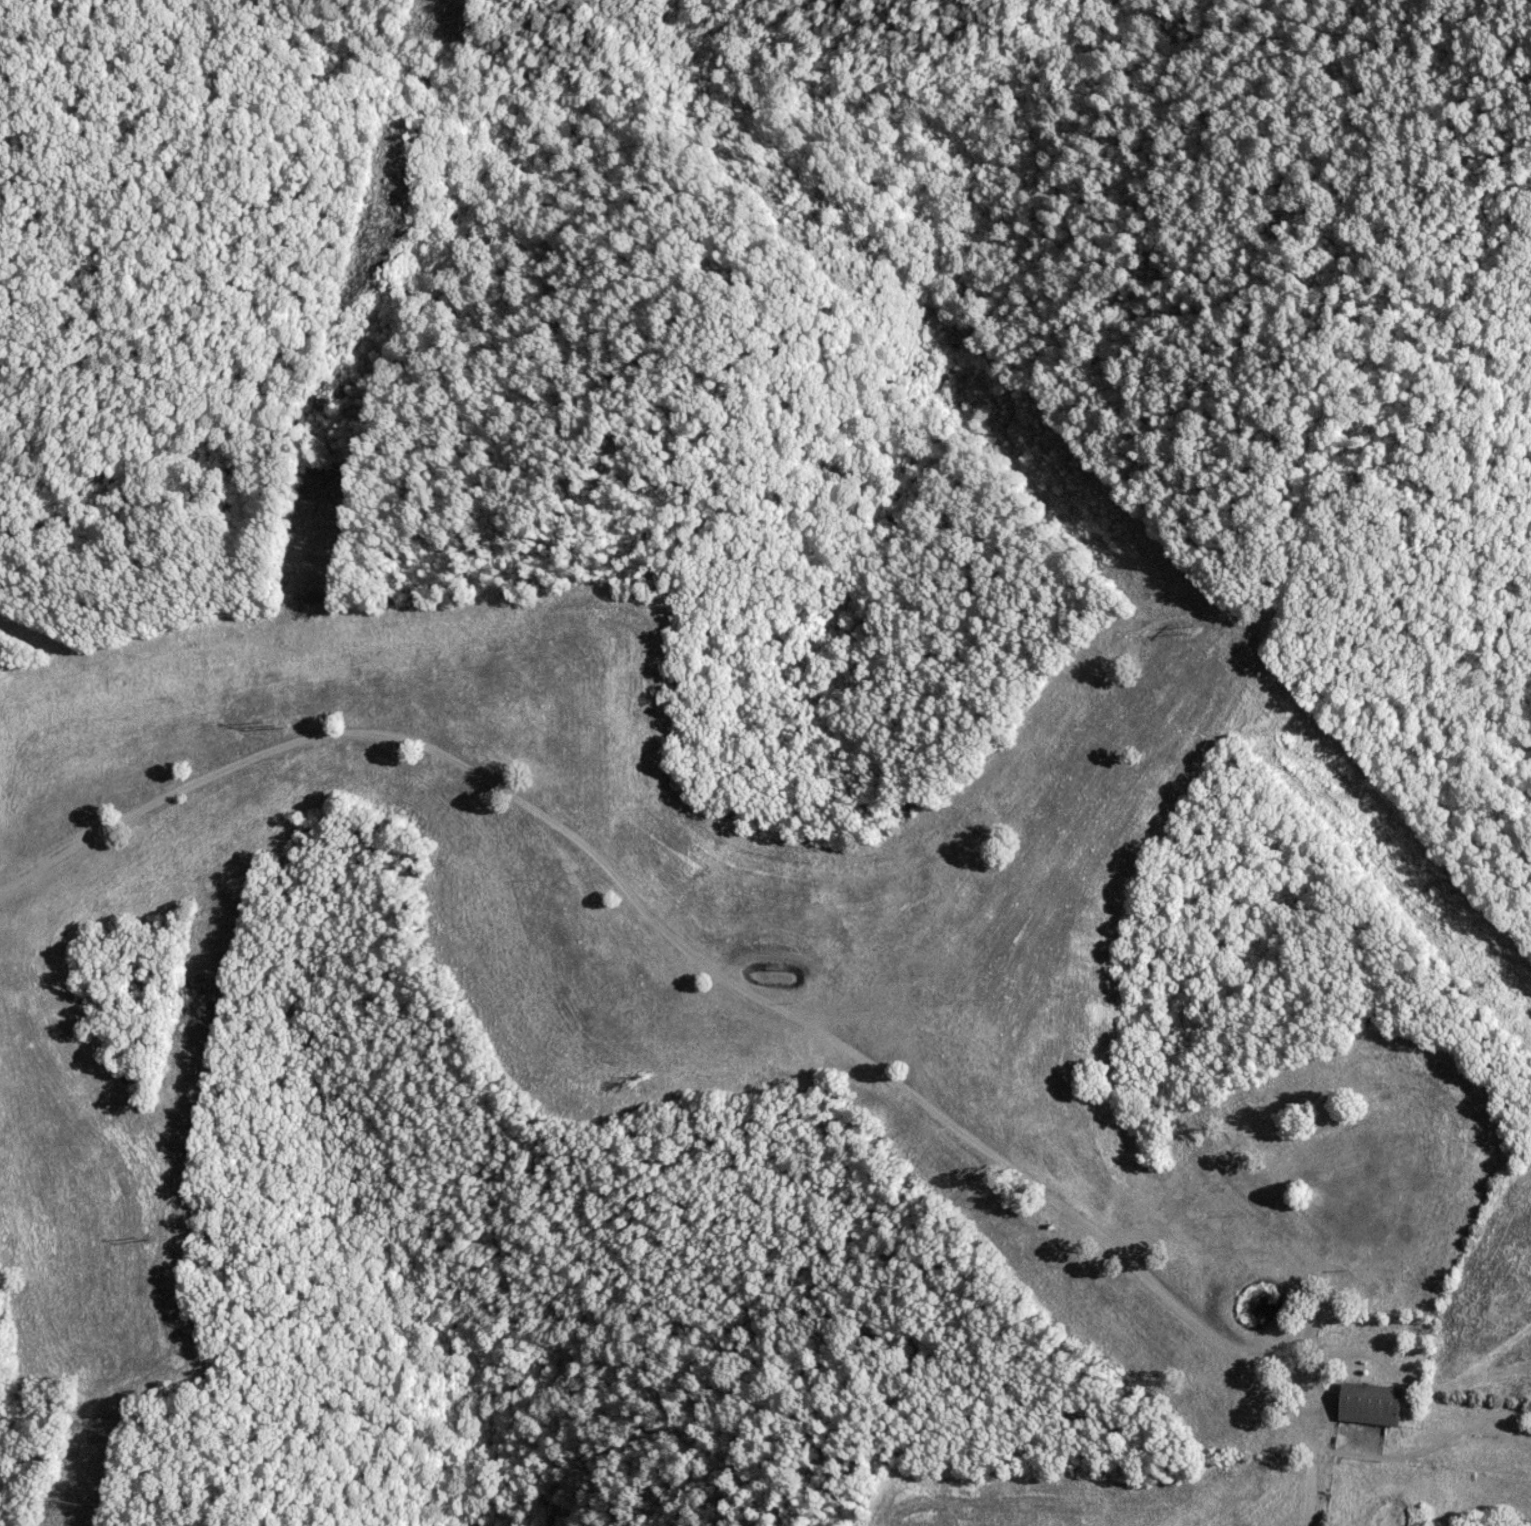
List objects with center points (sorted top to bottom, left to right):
power tower: (1198, 630)
power tower: (273, 725)
building: (1367, 1403)

